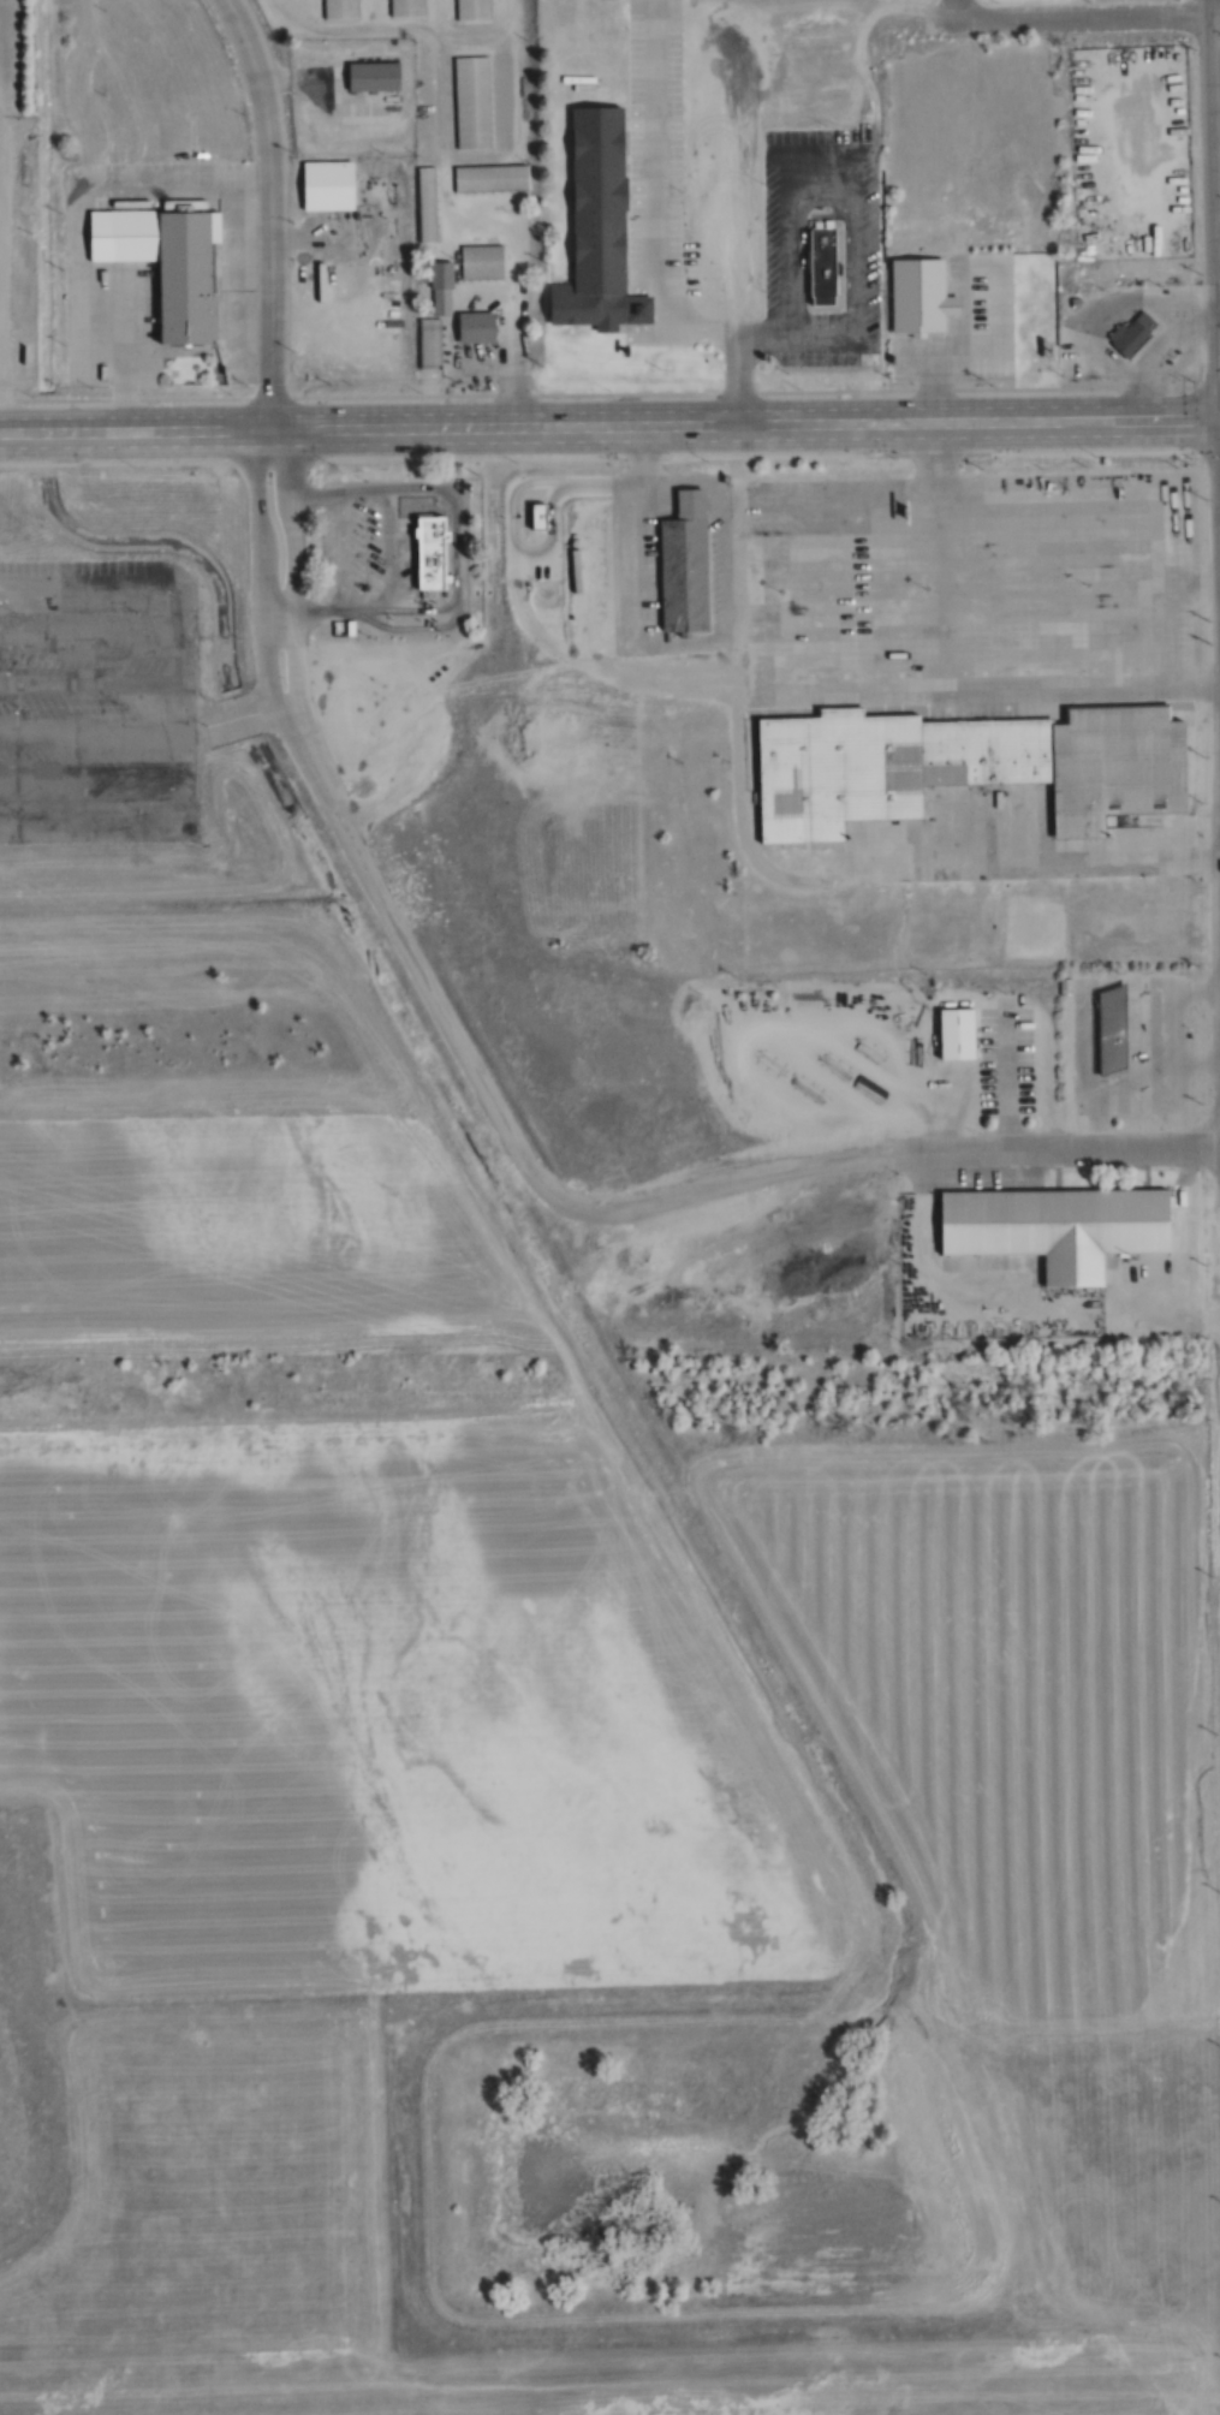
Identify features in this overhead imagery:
building: (405, 7)
building: (340, 8)
road: (1077, 8)
road: (953, 10)
building: (471, 11)
road: (1071, 18)
building: (375, 77)
building: (472, 102)
road: (1214, 143)
building: (1025, 144)
building: (490, 178)
building: (328, 186)
road: (268, 202)
building: (427, 207)
building: (605, 228)
building: (168, 261)
building: (482, 262)
road: (0, 275)
building: (827, 279)
building: (442, 289)
building: (923, 295)
building: (477, 327)
building: (1131, 337)
building: (1032, 339)
building: (429, 344)
street lamp: (992, 383)
street lamp: (797, 385)
street lamp: (607, 389)
street lamp: (416, 391)
street lamp: (228, 393)
street lamp: (31, 395)
road: (609, 411)
street lamp: (1094, 456)
street lamp: (893, 458)
street lamp: (704, 459)
street lamp: (508, 463)
street lamp: (329, 465)
street lamp: (135, 468)
street lamp: (1204, 498)
building: (694, 500)
building: (432, 552)
road: (290, 560)
road: (258, 565)
building: (685, 572)
street lamp: (239, 593)
street lamp: (137, 612)
street lamp: (16, 613)
road: (939, 688)
parking lot: (85, 697)
street lamp: (120, 706)
street lamp: (17, 707)
road: (232, 710)
street lamp: (208, 726)
road: (237, 728)
road: (91, 736)
road: (315, 767)
building: (887, 767)
building: (1120, 767)
street lamp: (137, 809)
street lamp: (19, 811)
building: (1063, 985)
road: (440, 1012)
building: (1114, 1029)
building: (954, 1034)
road: (1057, 1149)
road: (719, 1179)
building: (1055, 1229)

